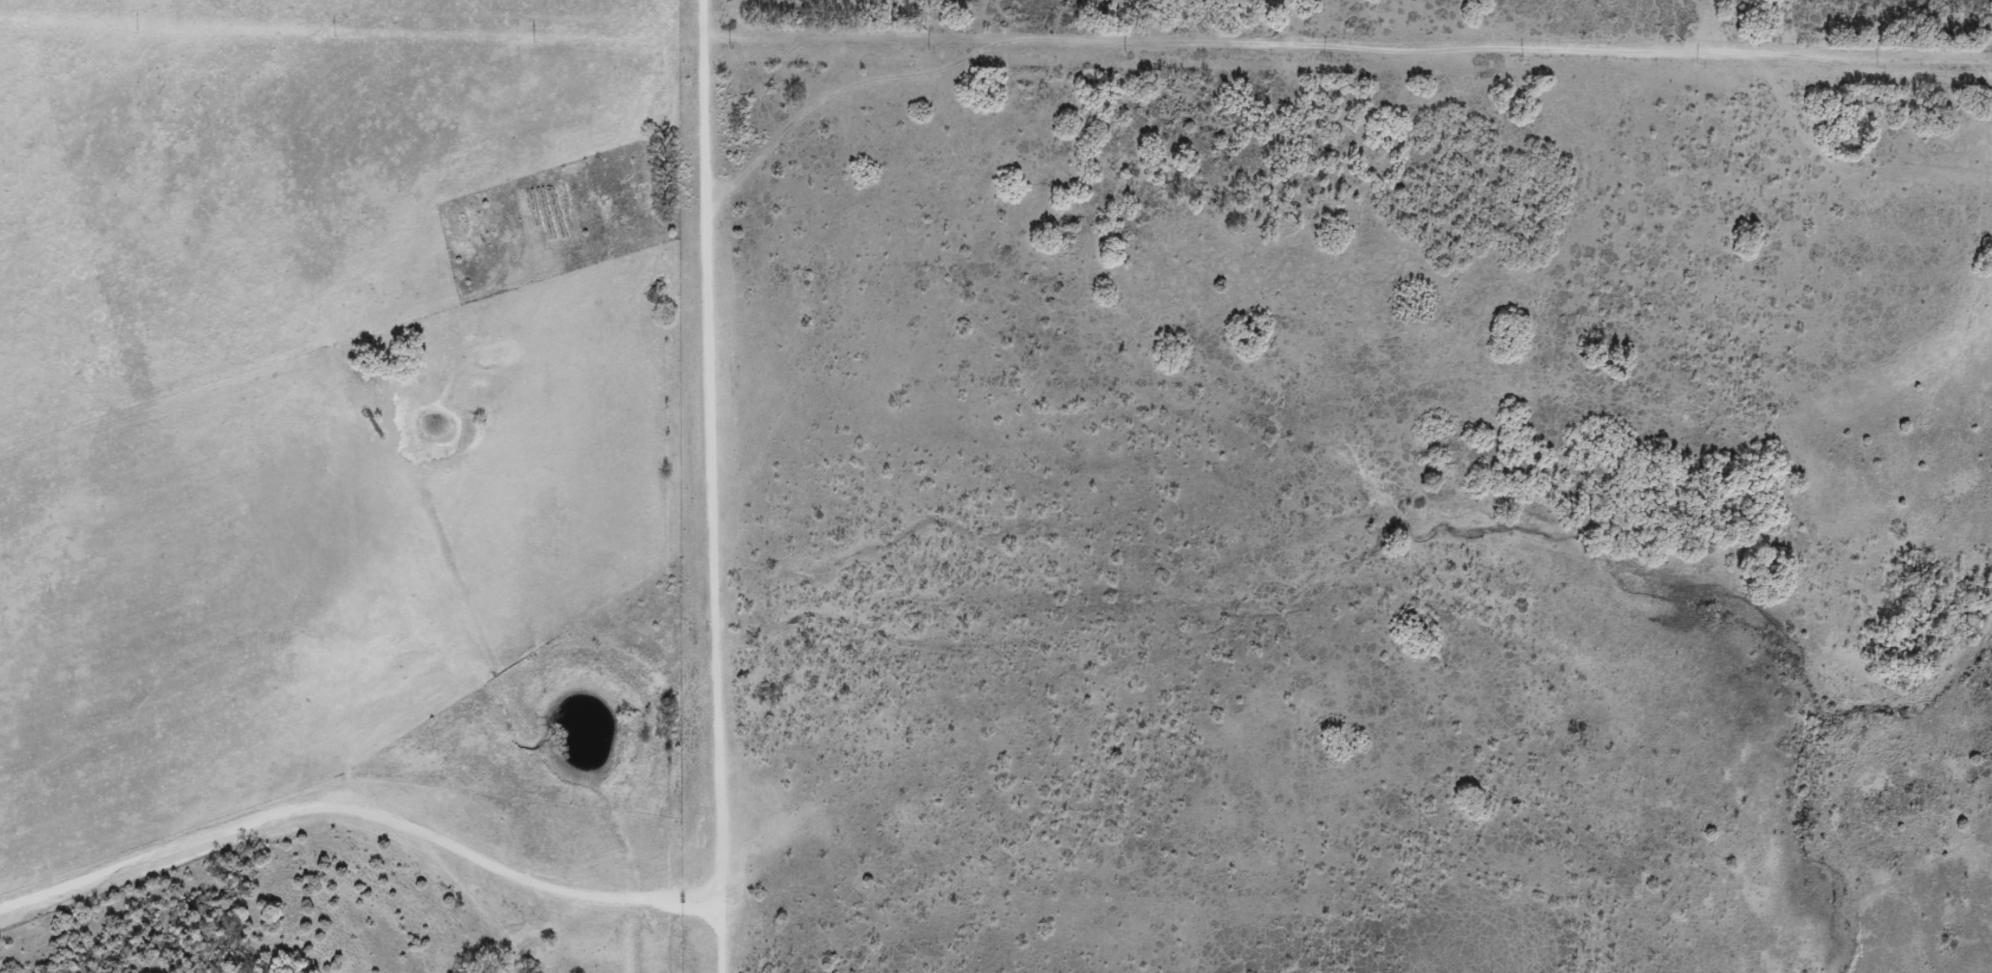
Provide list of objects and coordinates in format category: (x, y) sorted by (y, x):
road: (712, 486)
road: (357, 806)

